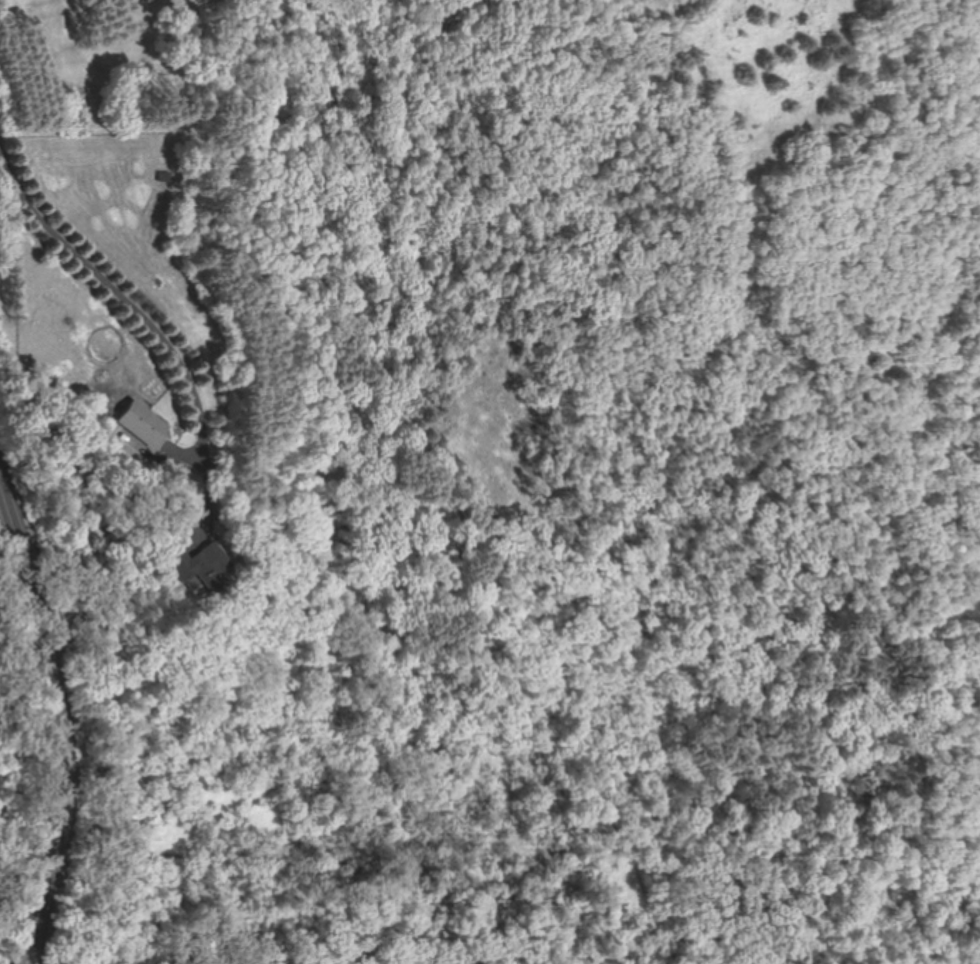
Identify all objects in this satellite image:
road: (969, 36)
road: (134, 312)
building: (145, 423)
park: (622, 543)
building: (211, 565)
road: (50, 673)
road: (430, 735)
road: (34, 921)

